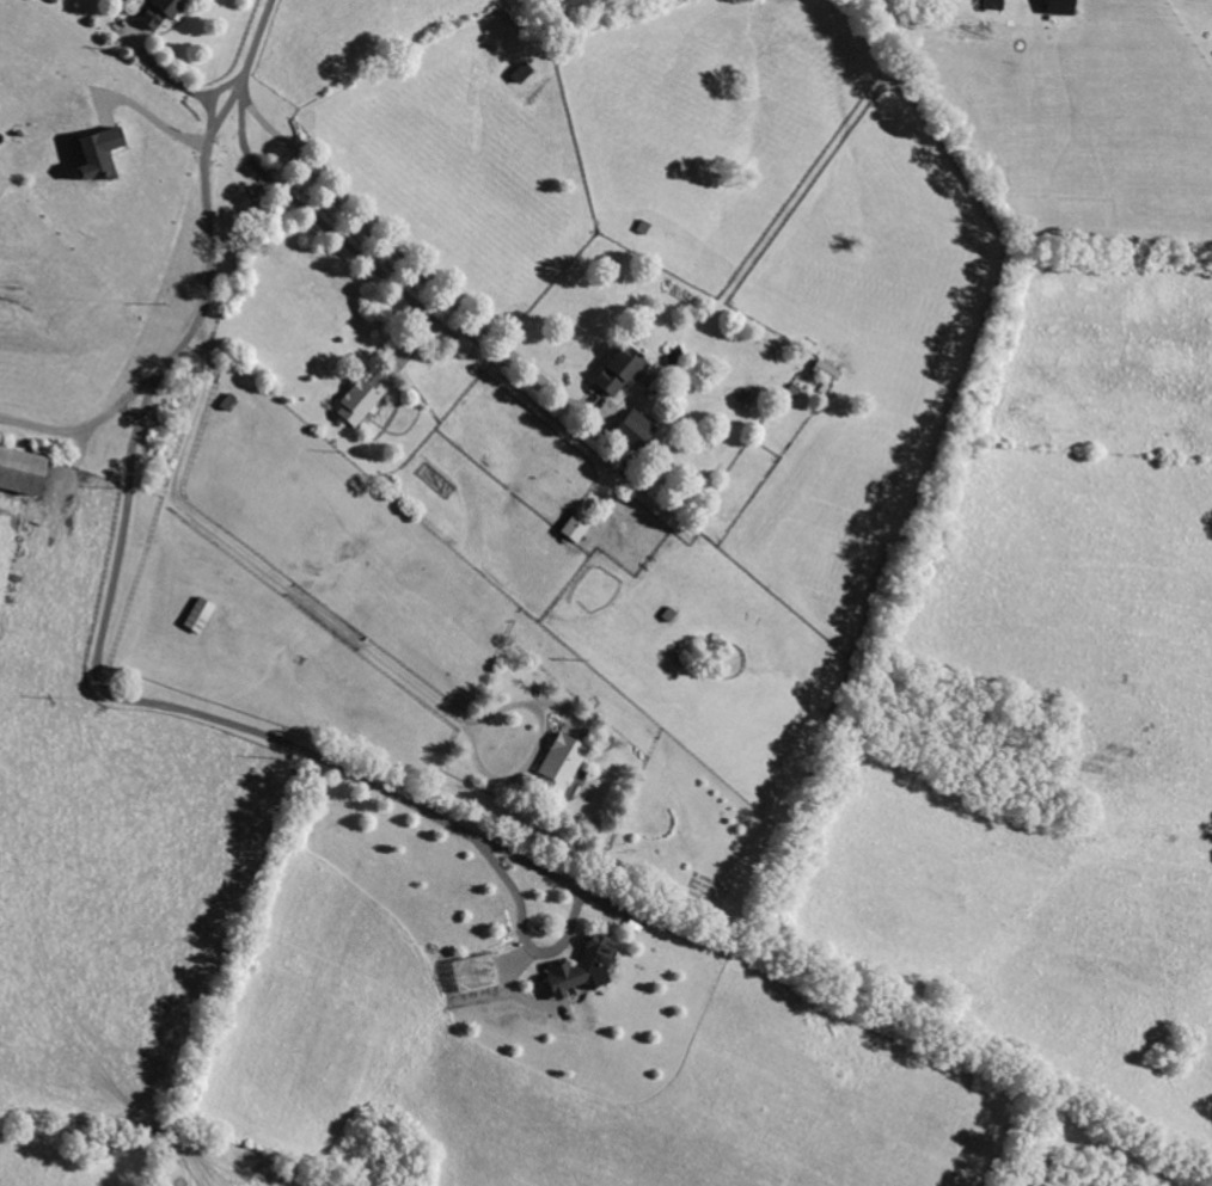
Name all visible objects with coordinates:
building: (1055, 7)
building: (153, 12)
road: (170, 76)
road: (158, 121)
building: (93, 153)
road: (318, 222)
road: (218, 236)
road: (396, 256)
building: (455, 345)
building: (616, 370)
building: (822, 371)
building: (357, 398)
building: (631, 429)
road: (41, 430)
building: (18, 471)
building: (573, 526)
road: (343, 632)
road: (224, 721)
building: (557, 764)
building: (577, 970)

